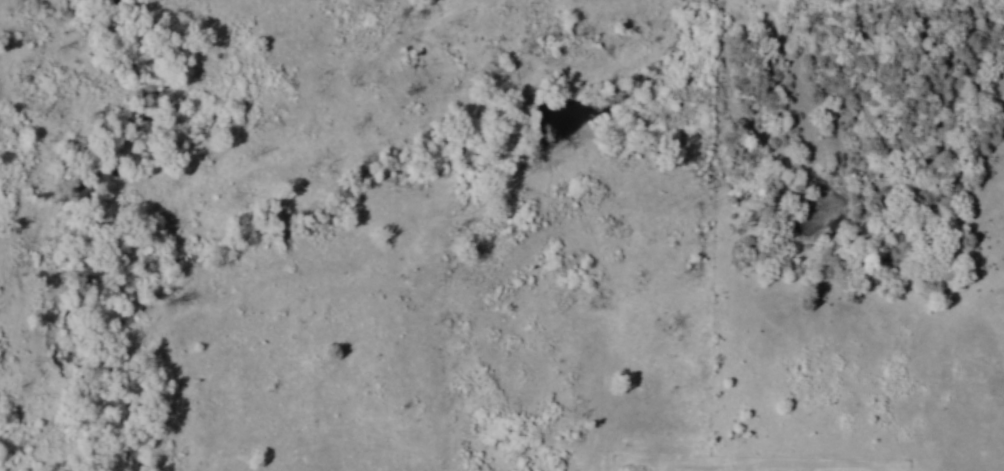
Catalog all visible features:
road: (816, 468)
road: (814, 469)

